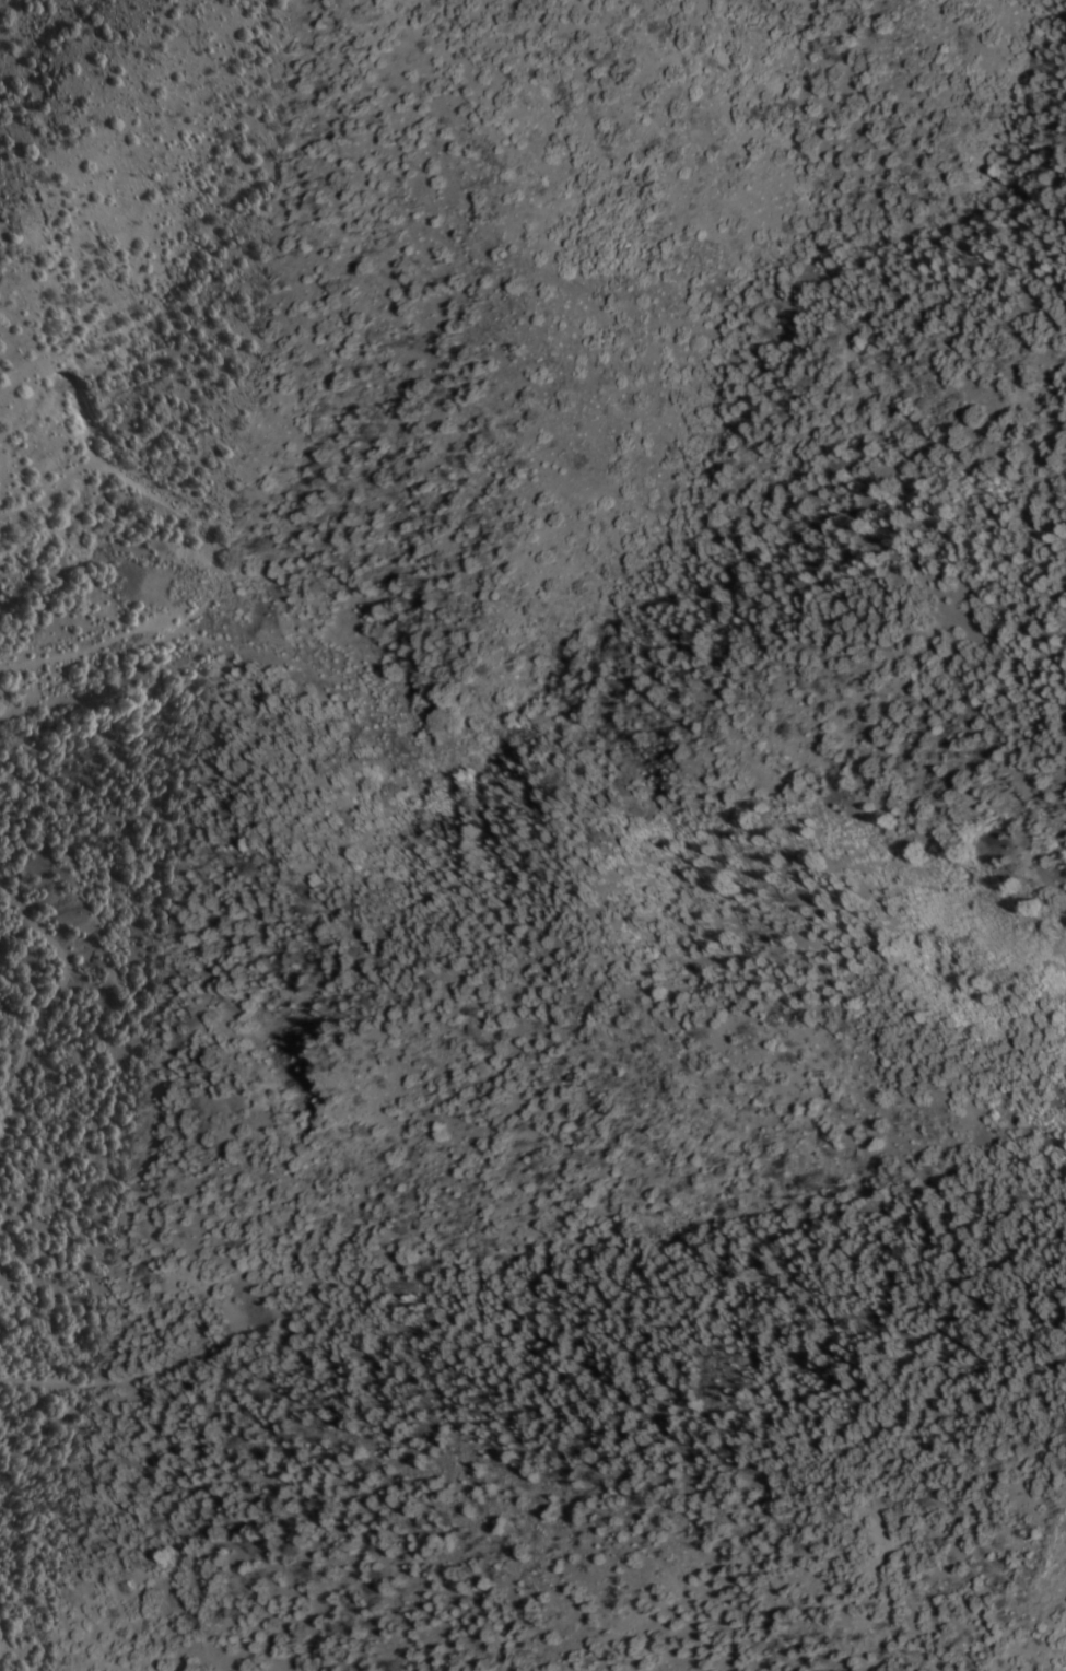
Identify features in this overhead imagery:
mineshaft: (536, 706)
road: (73, 998)
road: (118, 1393)

